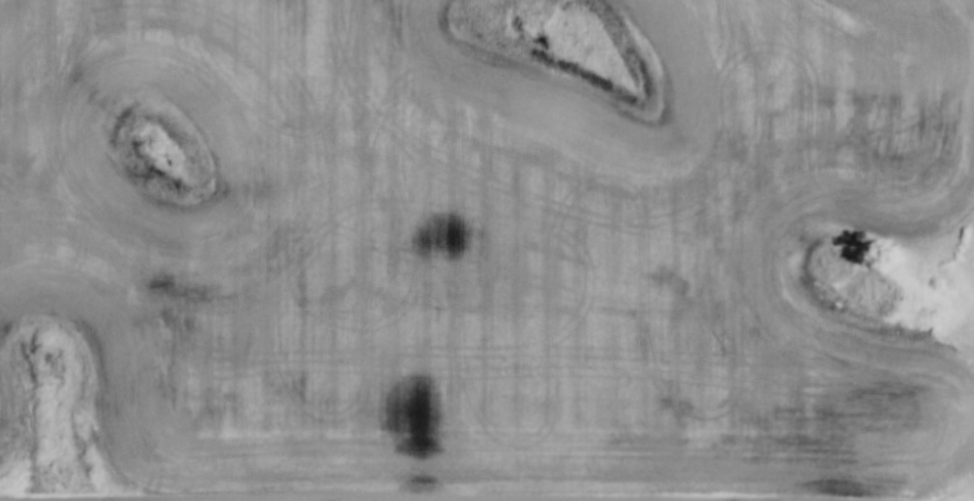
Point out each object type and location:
road: (432, 494)

